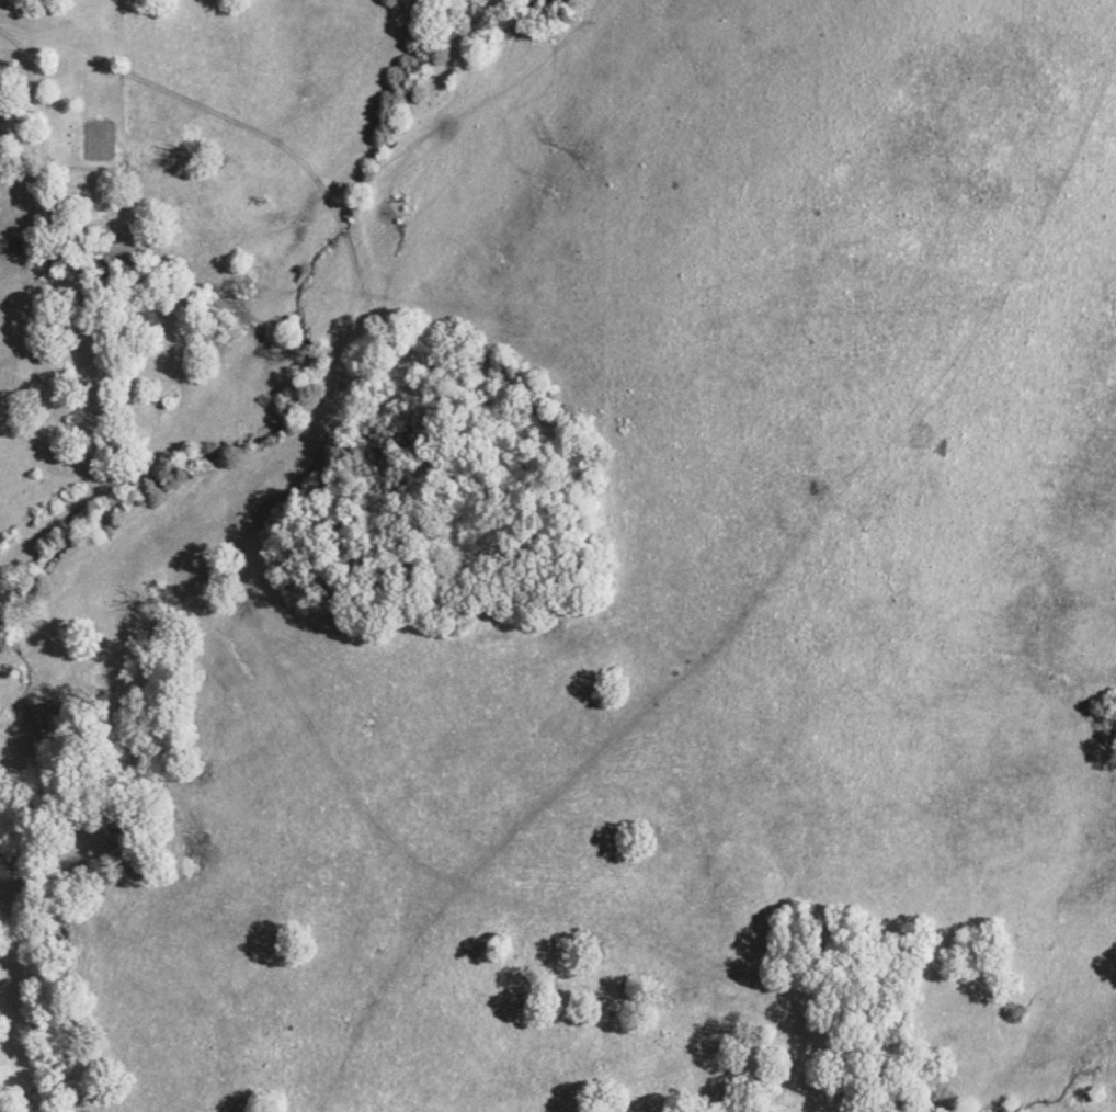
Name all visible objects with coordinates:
road: (18, 75)

